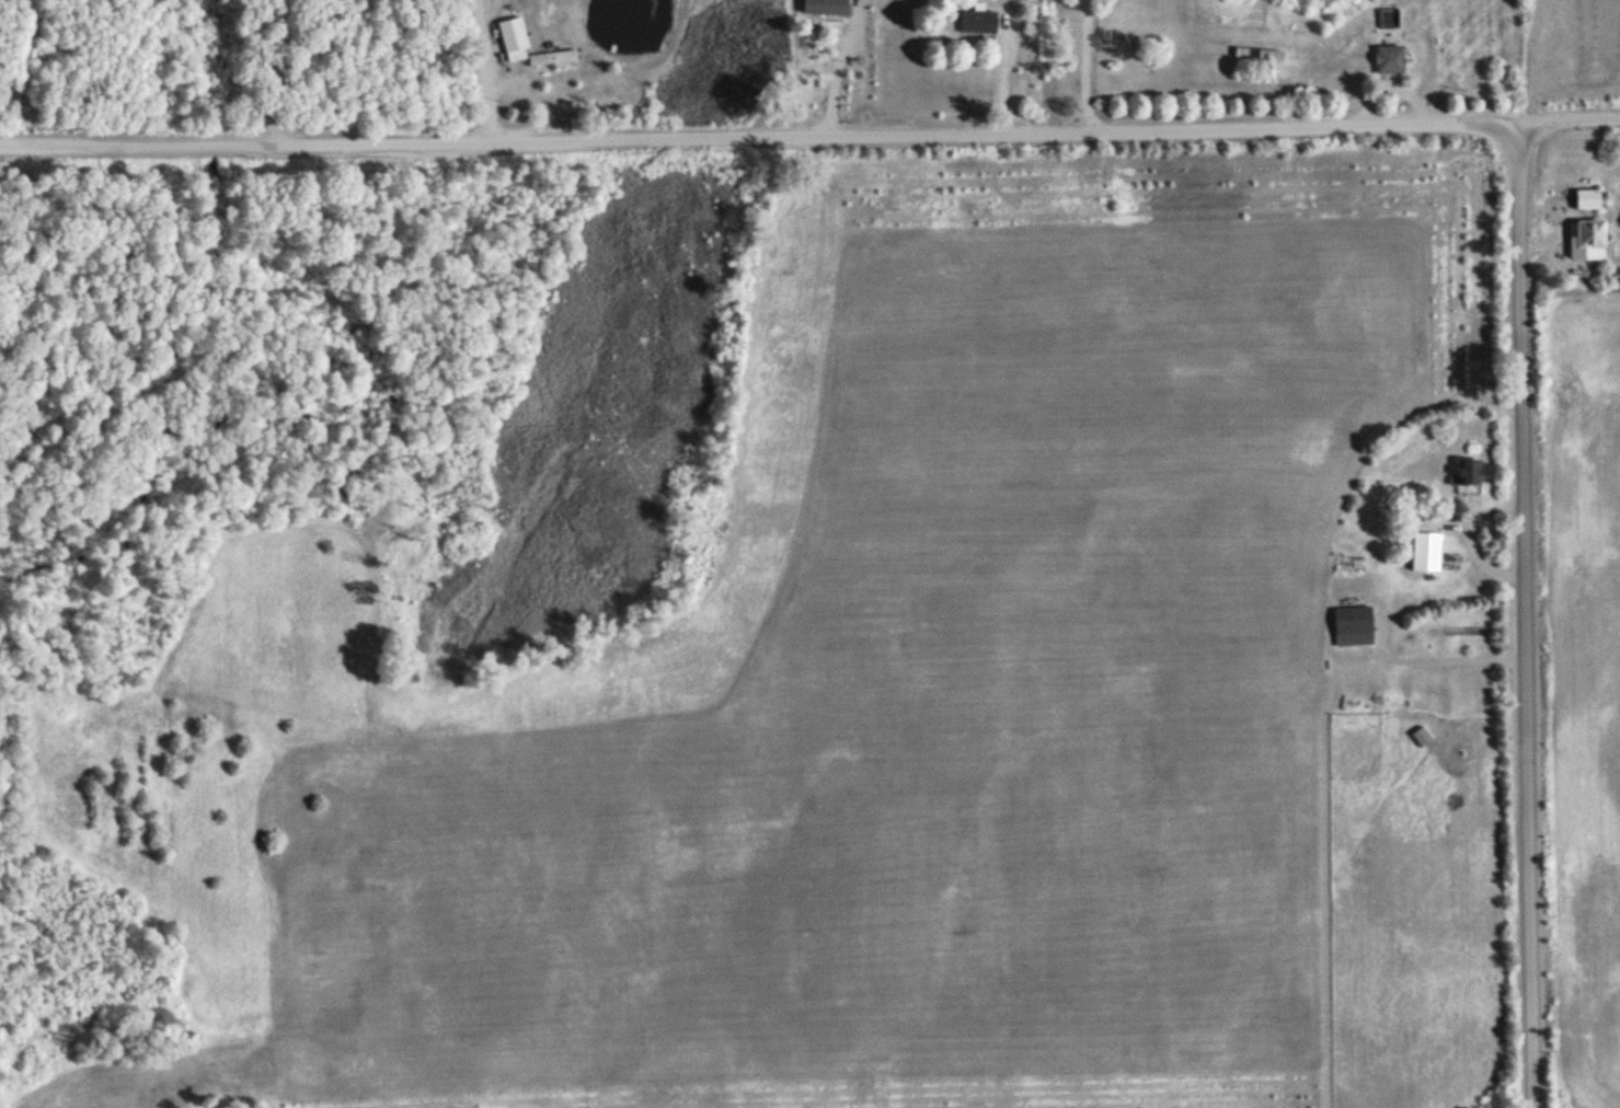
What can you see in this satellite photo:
building: (828, 8)
building: (981, 21)
building: (515, 34)
building: (1392, 59)
road: (831, 66)
road: (1082, 68)
road: (498, 70)
road: (809, 138)
building: (1592, 199)
building: (1590, 240)
building: (1472, 472)
building: (1429, 552)
road: (1526, 620)
building: (1356, 621)
building: (1424, 737)

